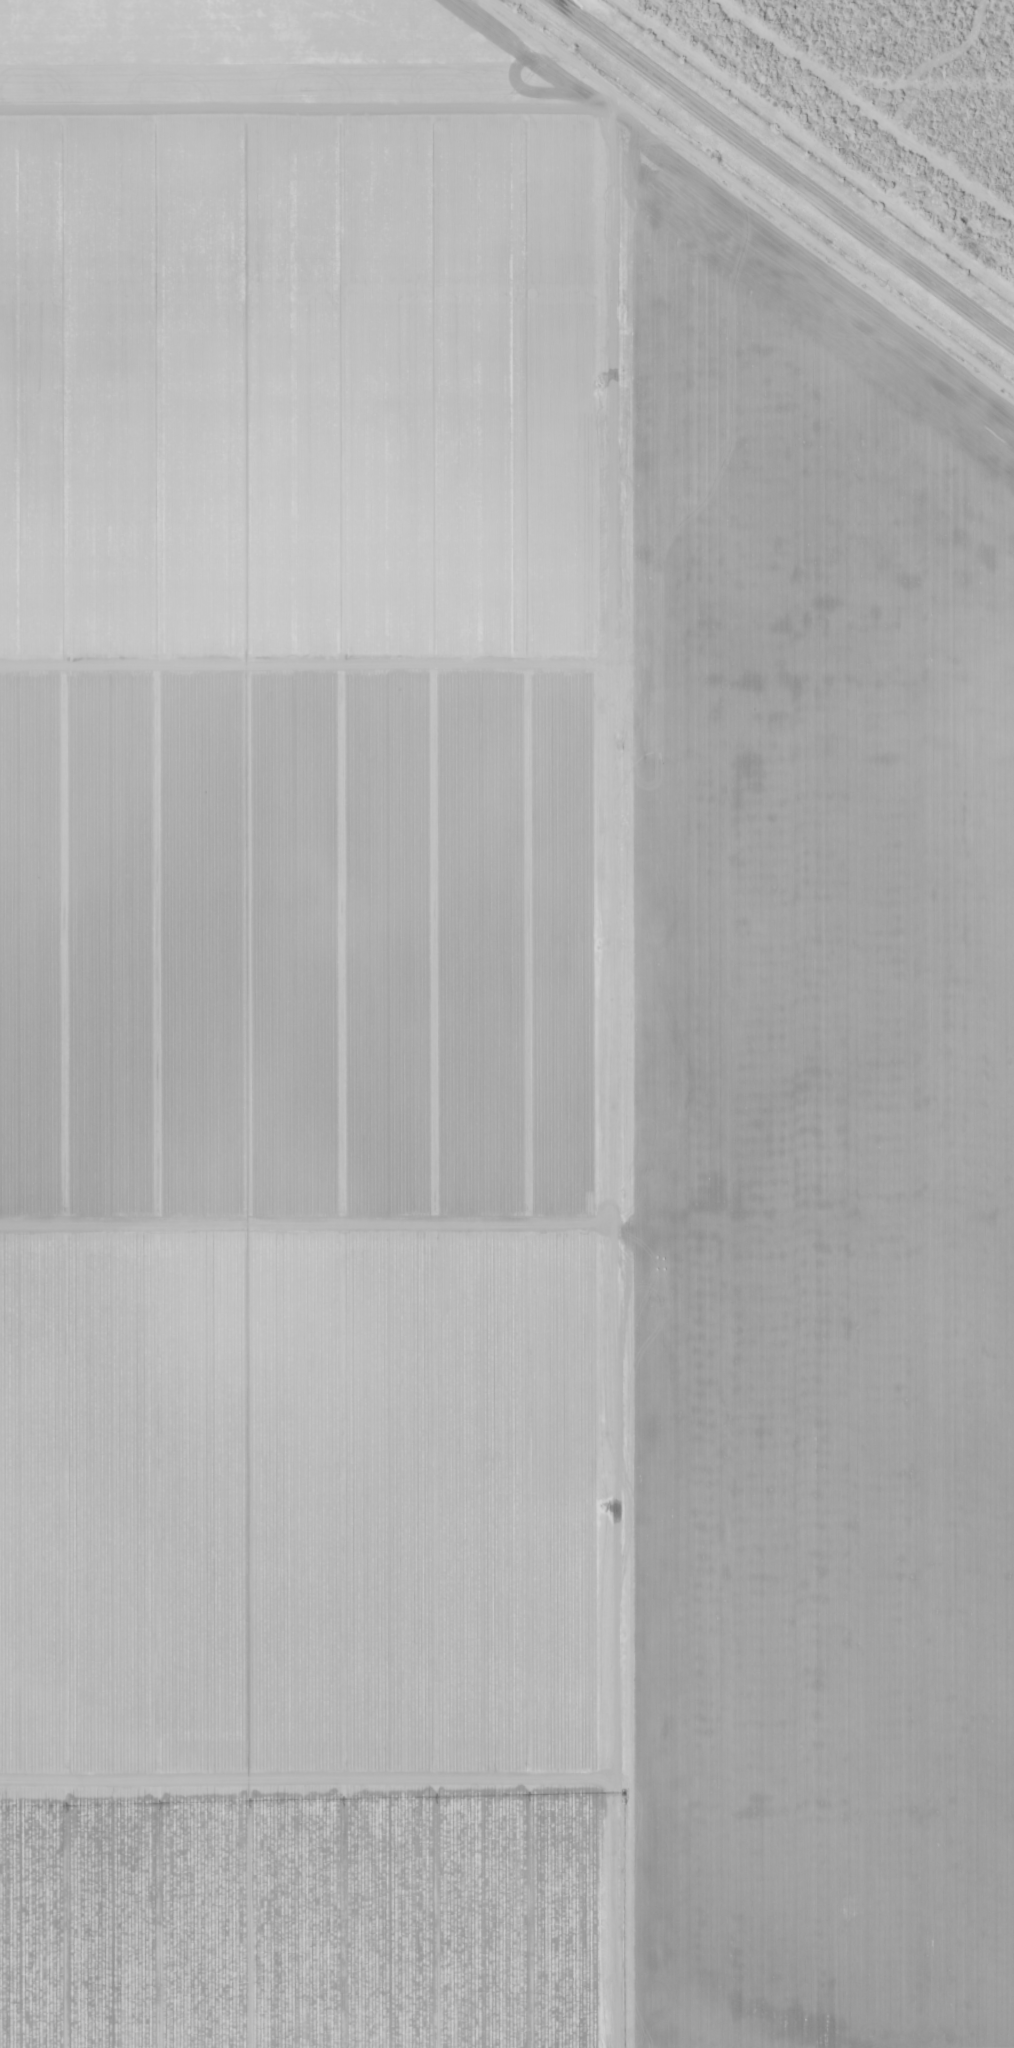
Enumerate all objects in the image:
road: (789, 167)

